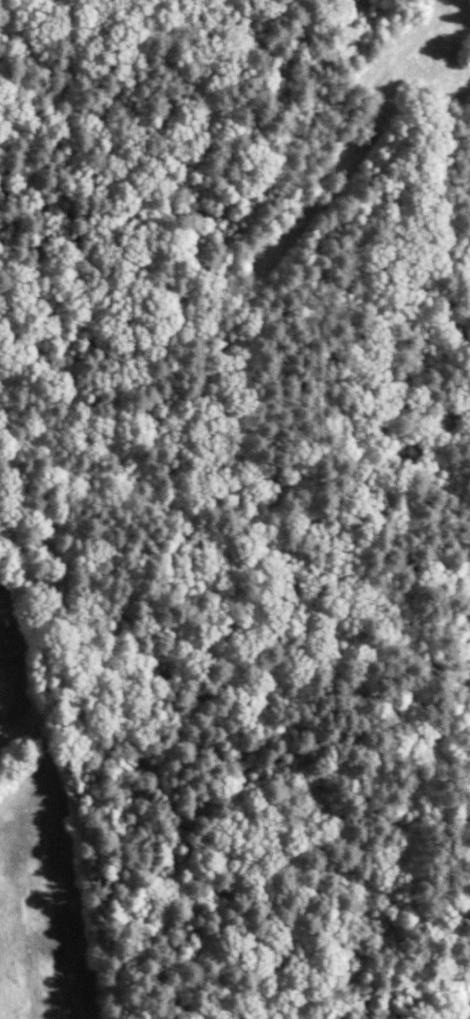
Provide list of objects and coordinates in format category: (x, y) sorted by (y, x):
park: (439, 889)

